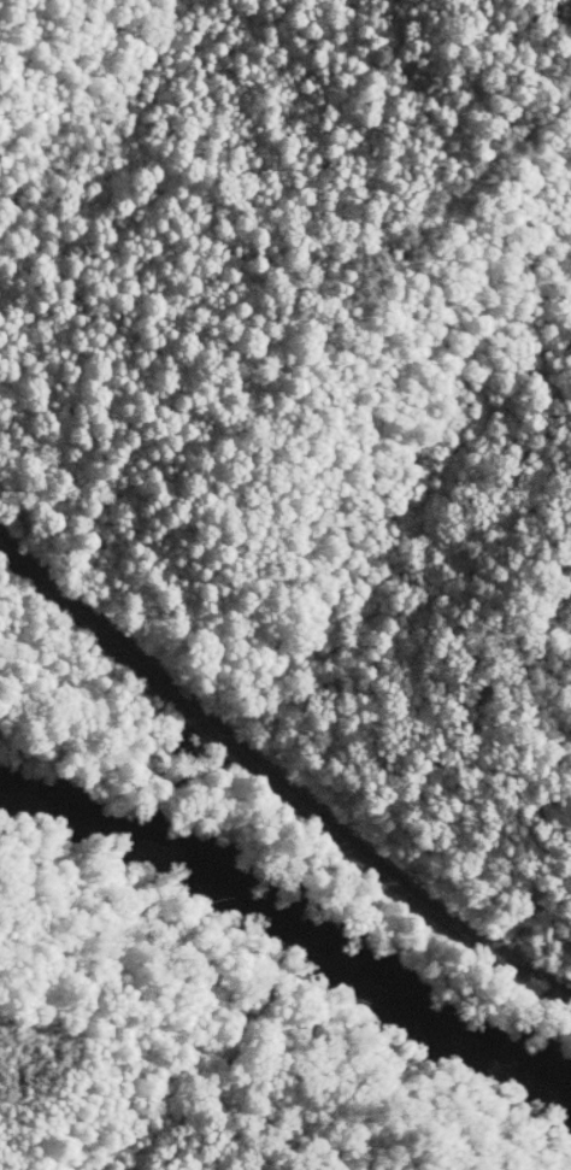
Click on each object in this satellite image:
railway: (275, 782)
river: (294, 929)

